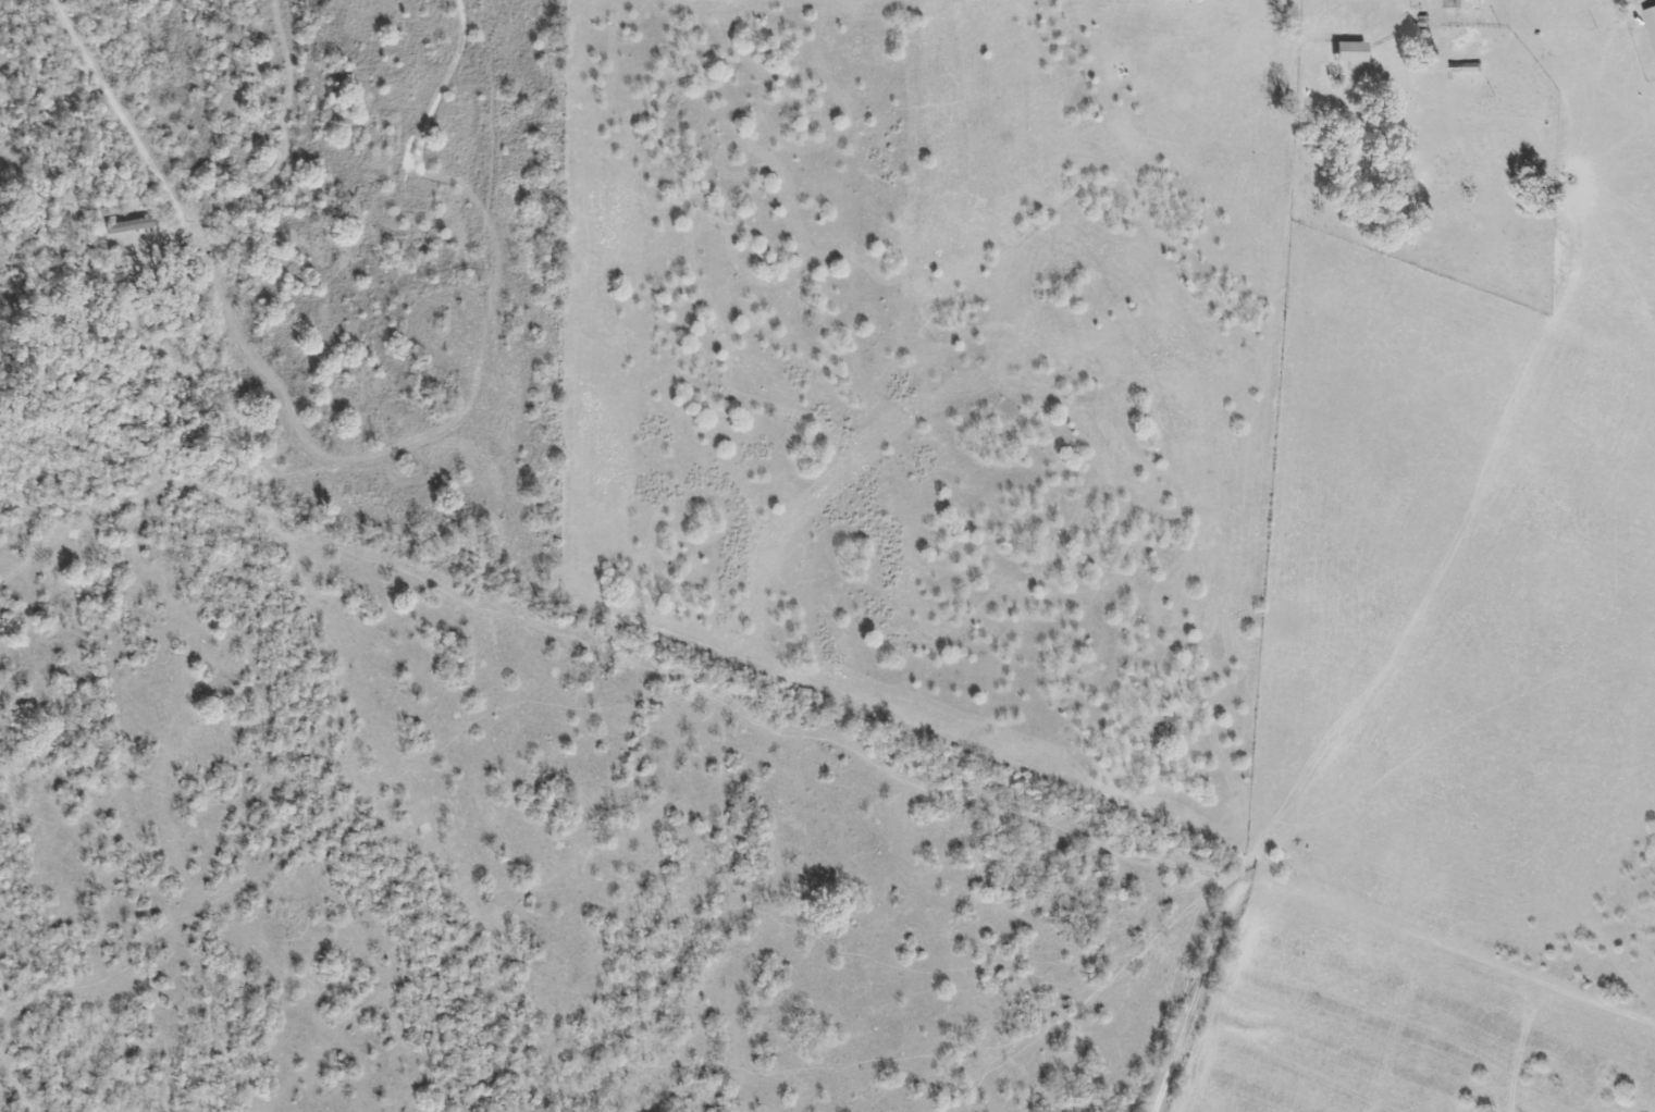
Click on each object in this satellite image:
building: (1469, 2)
building: (1651, 22)
building: (1345, 50)
road: (1446, 947)
road: (1191, 996)

